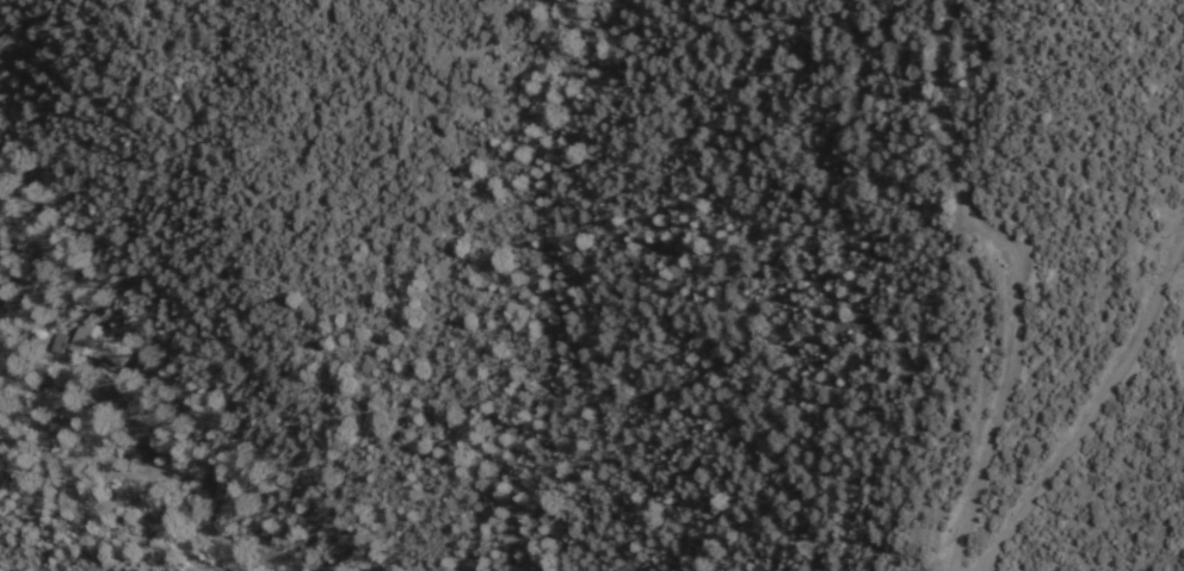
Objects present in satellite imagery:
road: (1020, 278)
building: (90, 342)
road: (1093, 409)
road: (124, 464)

